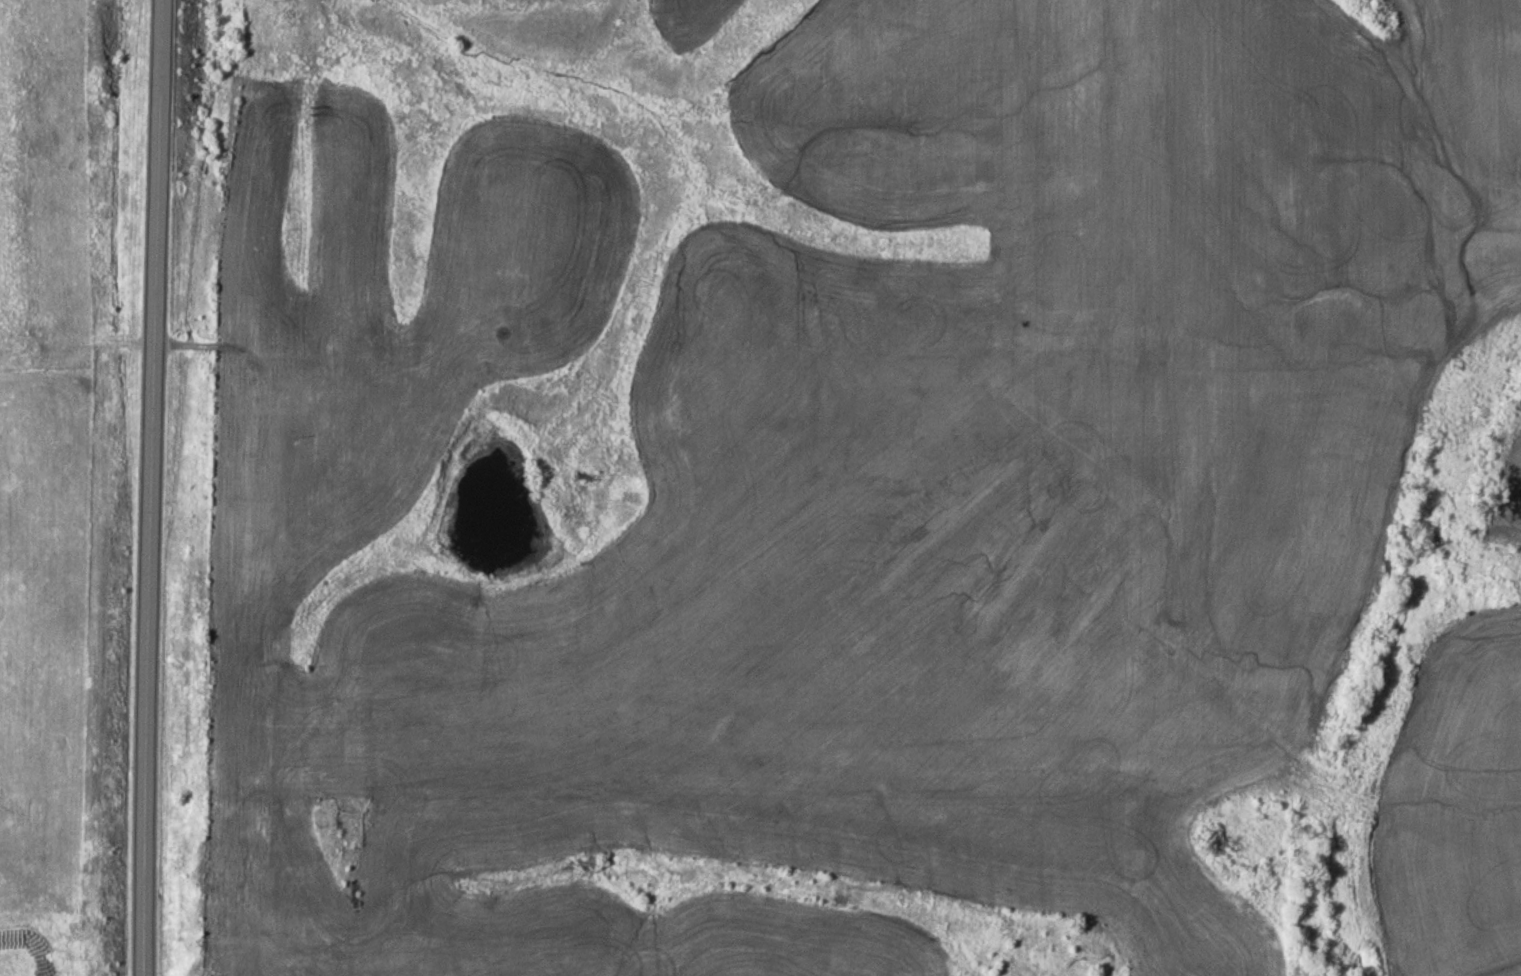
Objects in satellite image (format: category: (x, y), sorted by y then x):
road: (153, 487)

